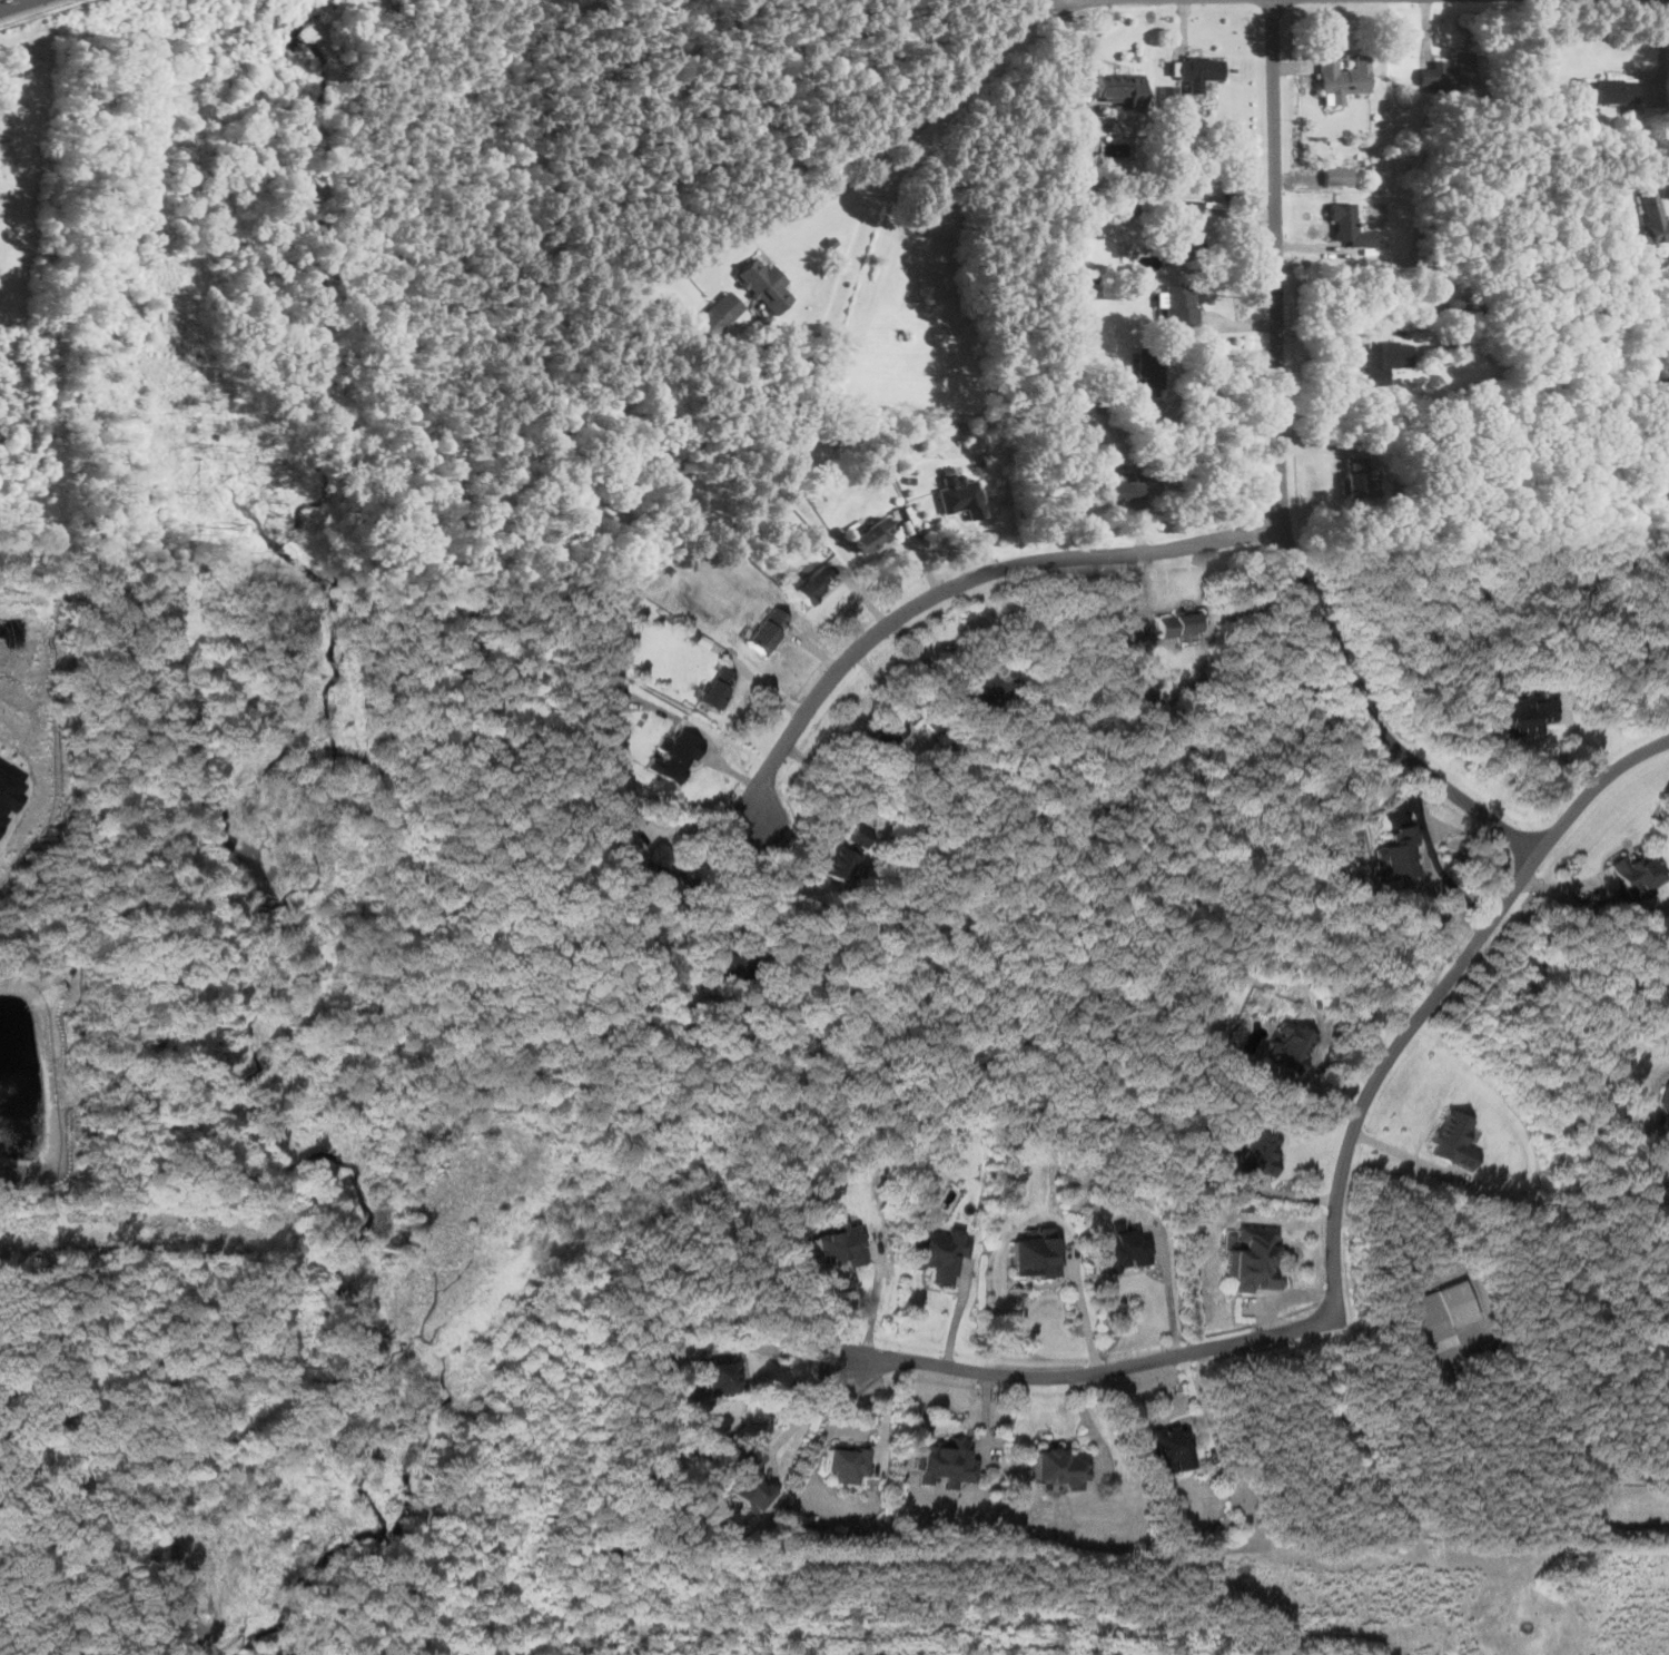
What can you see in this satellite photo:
road: (12, 3)
road: (27, 8)
building: (1196, 70)
building: (1449, 70)
building: (1342, 77)
building: (1122, 87)
building: (1609, 89)
building: (1169, 92)
road: (915, 134)
building: (1116, 145)
building: (1339, 174)
building: (1652, 215)
building: (1191, 225)
building: (1350, 225)
building: (1090, 276)
building: (764, 284)
building: (1179, 302)
building: (719, 313)
building: (1386, 357)
road: (1209, 358)
building: (1150, 373)
building: (1355, 475)
road: (1278, 477)
building: (1124, 489)
building: (961, 495)
building: (872, 533)
building: (664, 568)
road: (961, 581)
building: (813, 583)
building: (1179, 625)
building: (767, 631)
building: (990, 687)
building: (717, 689)
building: (615, 693)
building: (1521, 715)
building: (883, 733)
building: (678, 758)
building: (4, 794)
building: (859, 838)
building: (1399, 853)
building: (841, 863)
building: (1639, 870)
building: (664, 877)
road: (747, 884)
building: (727, 962)
road: (1435, 995)
building: (1293, 1048)
building: (1665, 1102)
building: (1452, 1140)
building: (1260, 1150)
road: (1405, 1155)
building: (839, 1245)
building: (1124, 1250)
building: (938, 1251)
building: (1036, 1254)
building: (1254, 1261)
road: (1171, 1294)
road: (875, 1304)
building: (1439, 1311)
road: (959, 1313)
road: (1085, 1314)
road: (789, 1350)
road: (1094, 1371)
building: (719, 1377)
road: (808, 1415)
road: (886, 1415)
road: (1093, 1425)
building: (1173, 1447)
building: (847, 1464)
building: (945, 1464)
building: (1061, 1467)
building: (749, 1482)

